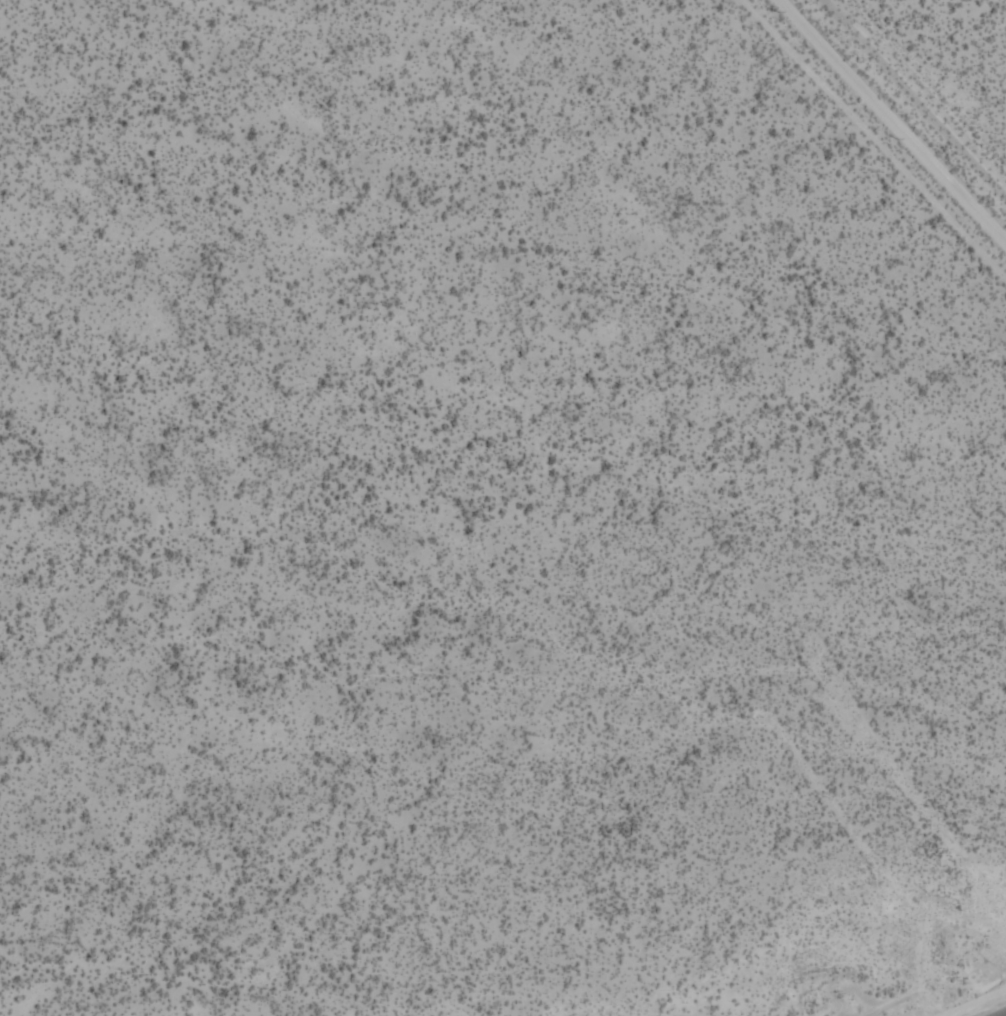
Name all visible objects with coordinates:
building: (260, 28)
building: (28, 61)
road: (892, 126)
building: (147, 152)
building: (57, 196)
building: (450, 197)
building: (808, 215)
building: (0, 262)
building: (85, 310)
building: (965, 322)
building: (932, 359)
building: (967, 386)
building: (6, 599)
building: (261, 621)
building: (1, 627)
building: (104, 683)
building: (9, 722)

